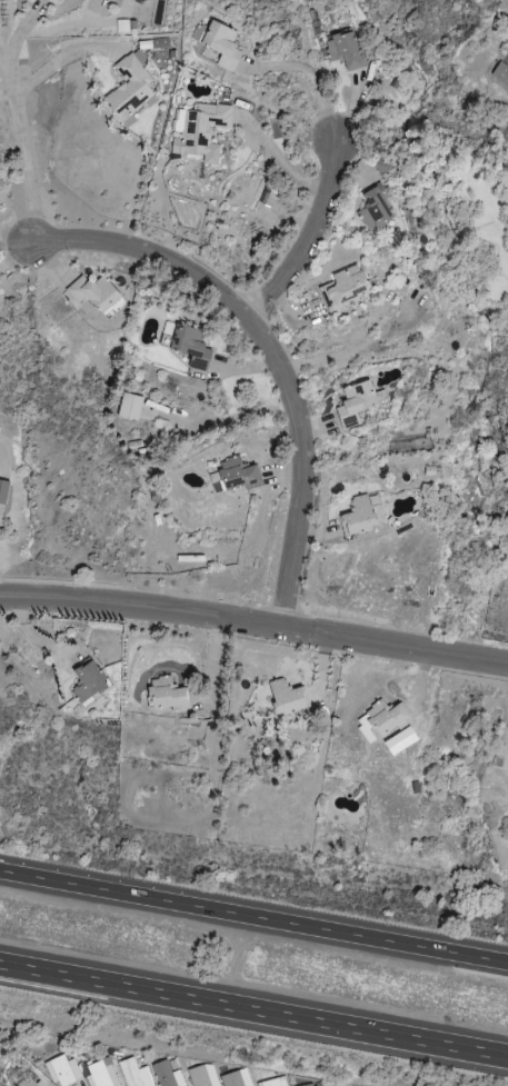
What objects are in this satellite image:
building: (54, 1)
building: (219, 42)
building: (345, 50)
road: (59, 61)
building: (500, 73)
road: (315, 80)
building: (130, 89)
building: (202, 132)
road: (18, 146)
road: (277, 159)
building: (386, 165)
building: (375, 210)
road: (13, 238)
road: (307, 239)
building: (346, 288)
building: (93, 292)
road: (271, 357)
building: (356, 403)
building: (130, 407)
building: (233, 477)
building: (3, 491)
building: (359, 517)
road: (255, 629)
building: (90, 684)
building: (167, 695)
building: (287, 698)
building: (381, 721)
building: (401, 741)
road: (253, 920)
road: (253, 1015)
building: (63, 1070)
building: (100, 1074)
building: (133, 1074)
building: (167, 1074)
building: (203, 1076)
building: (29, 1082)
building: (273, 1083)
building: (246, 1084)
building: (317, 1085)

